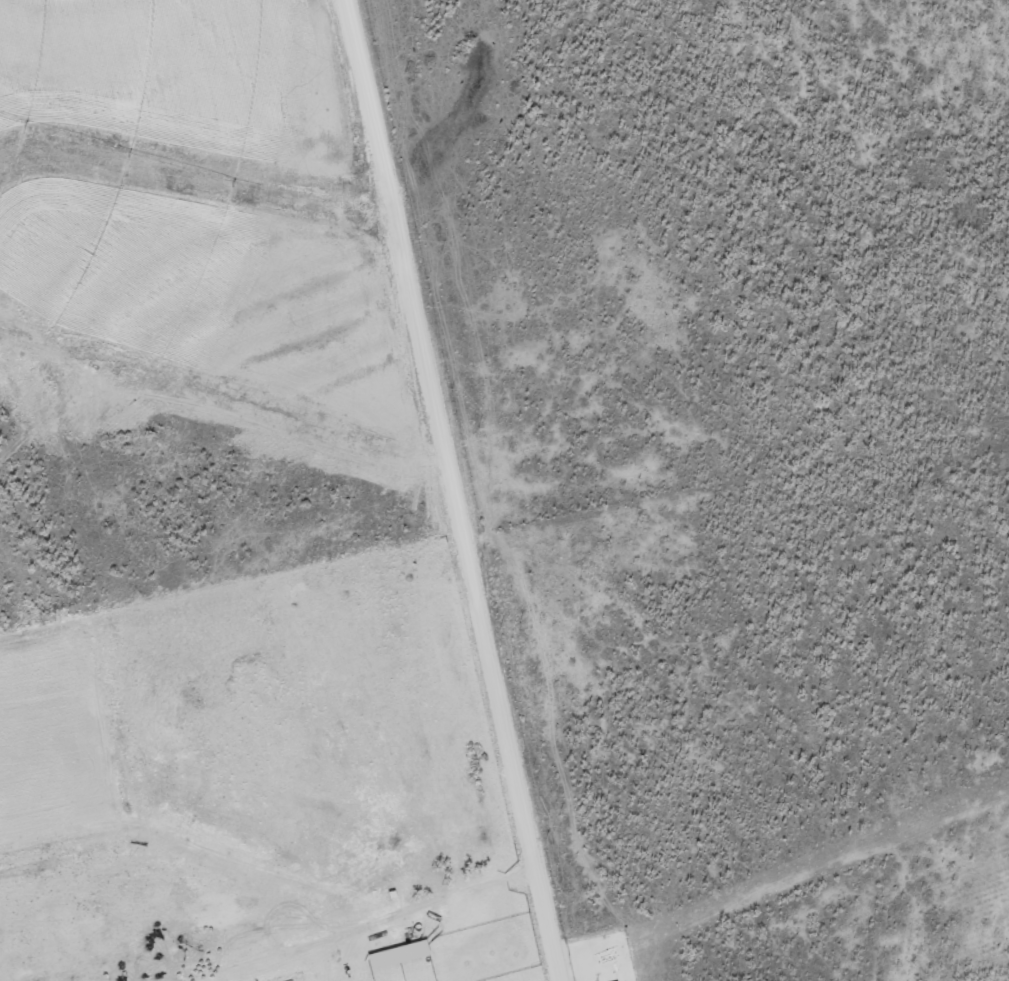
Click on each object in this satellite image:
road: (453, 490)

